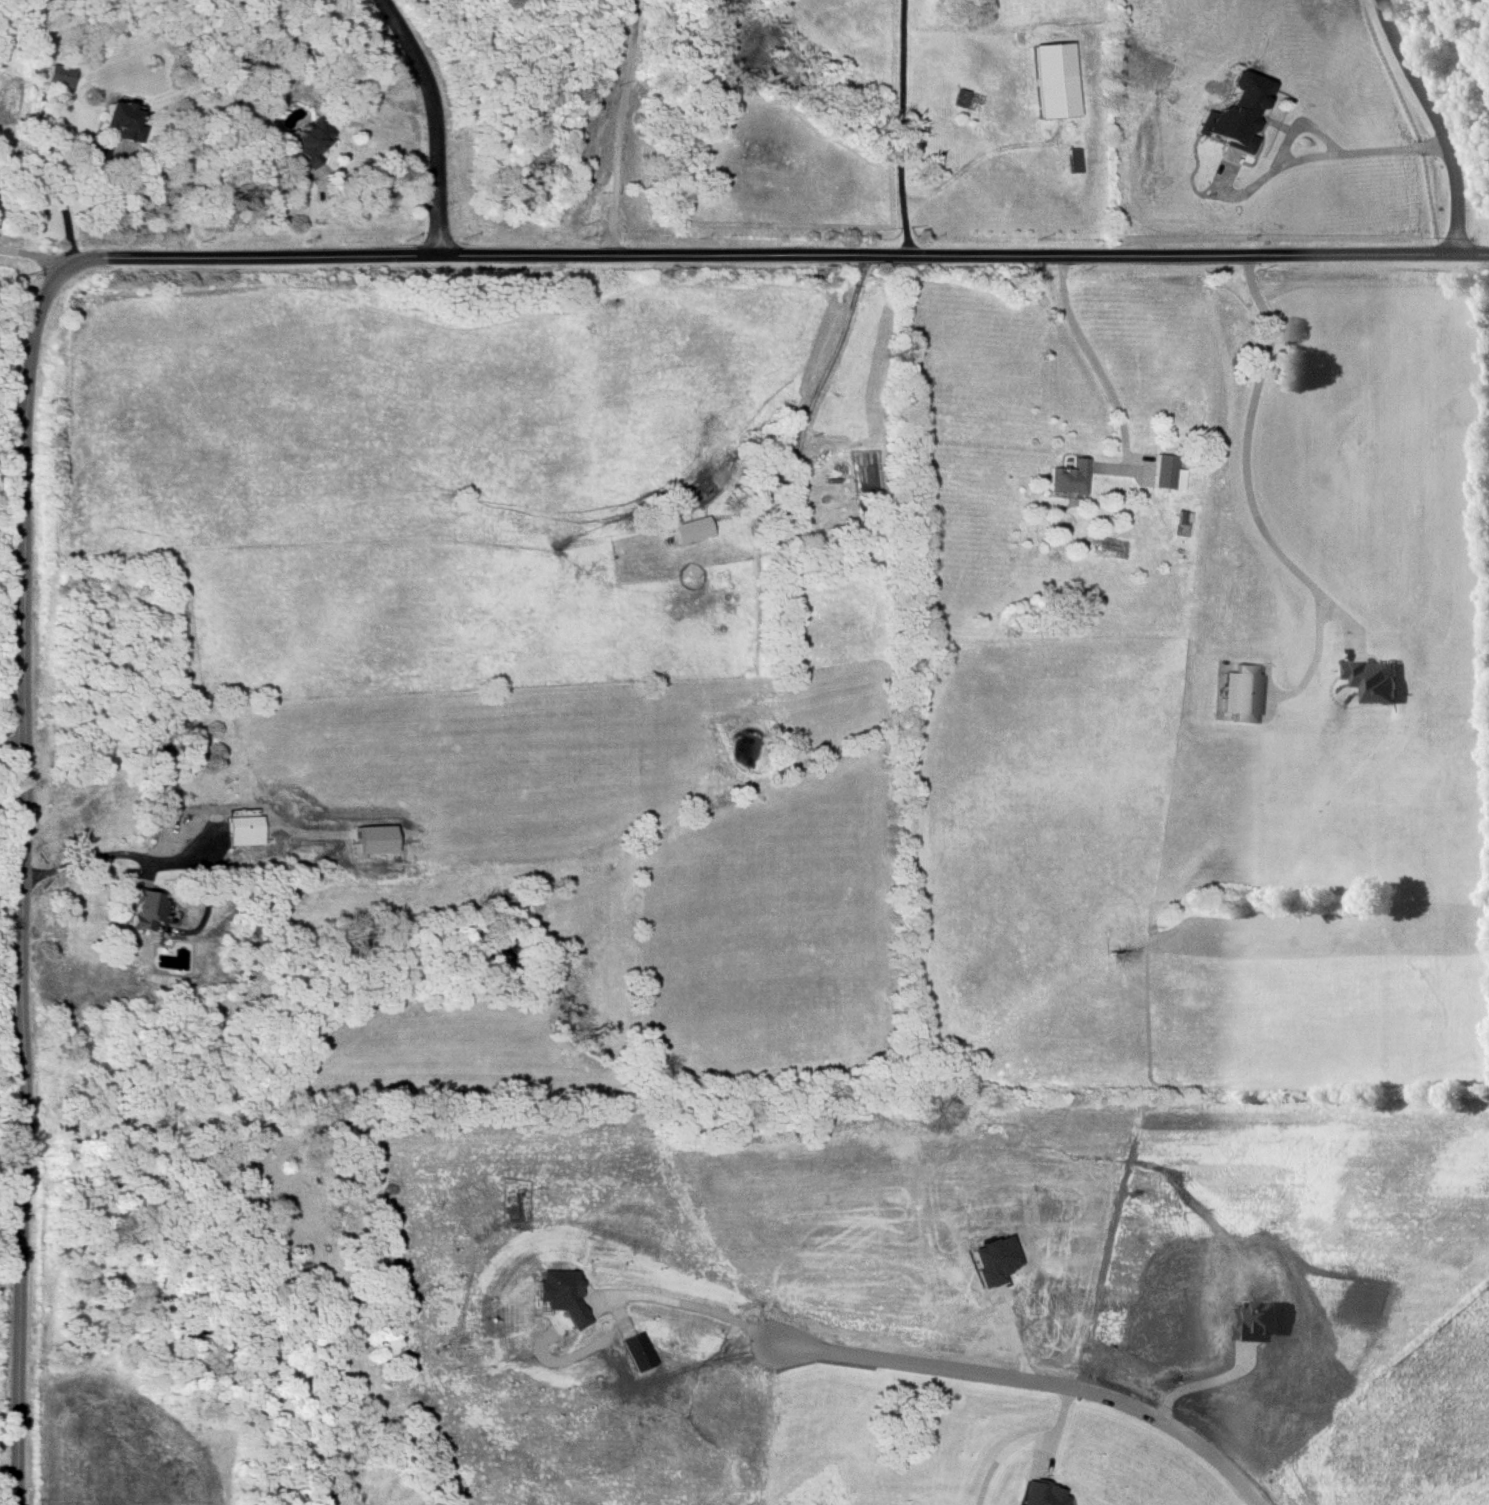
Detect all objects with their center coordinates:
building: (56, 77)
building: (1054, 80)
building: (1234, 112)
road: (436, 118)
building: (121, 121)
road: (1439, 122)
road: (618, 127)
road: (892, 128)
road: (1326, 139)
building: (306, 145)
building: (1073, 160)
road: (72, 175)
road: (378, 188)
road: (793, 255)
road: (36, 256)
road: (18, 315)
road: (1086, 361)
road: (820, 373)
road: (1243, 460)
building: (1165, 472)
building: (1065, 477)
building: (690, 529)
road: (10, 552)
building: (1372, 679)
building: (1237, 695)
building: (242, 830)
building: (369, 840)
road: (89, 858)
road: (19, 865)
building: (992, 1259)
building: (558, 1293)
road: (688, 1309)
road: (1190, 1381)
road: (1029, 1383)
road: (1057, 1425)
road: (1000, 1453)
building: (1035, 1494)

